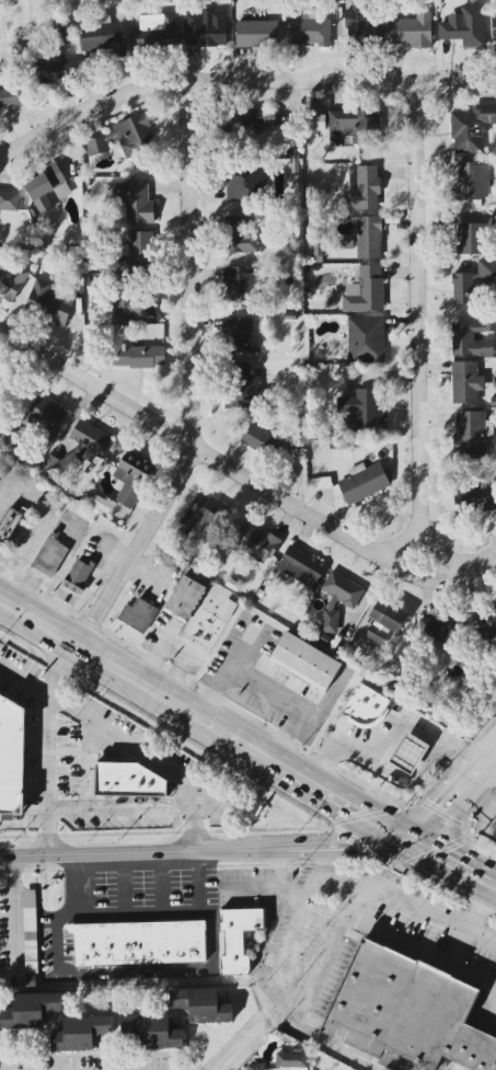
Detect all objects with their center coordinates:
building: (359, 21)
building: (465, 26)
building: (205, 28)
building: (412, 31)
building: (155, 32)
building: (310, 32)
building: (257, 34)
building: (62, 36)
building: (102, 38)
building: (54, 70)
road: (239, 79)
building: (11, 96)
building: (256, 118)
building: (316, 122)
building: (357, 125)
building: (472, 128)
building: (125, 137)
building: (473, 181)
building: (244, 183)
building: (47, 187)
building: (364, 187)
building: (134, 199)
building: (9, 200)
building: (240, 237)
building: (369, 238)
building: (470, 239)
building: (321, 250)
building: (141, 251)
building: (240, 280)
building: (474, 281)
building: (12, 283)
building: (365, 290)
building: (50, 301)
building: (134, 307)
road: (418, 313)
building: (242, 336)
building: (473, 337)
building: (367, 340)
building: (138, 356)
road: (188, 380)
building: (466, 382)
building: (246, 392)
building: (361, 412)
building: (45, 416)
building: (471, 433)
building: (257, 438)
building: (79, 450)
road: (245, 478)
building: (132, 479)
building: (364, 483)
building: (321, 485)
building: (474, 495)
building: (101, 505)
building: (201, 513)
building: (9, 525)
road: (38, 526)
building: (257, 543)
building: (50, 556)
building: (301, 567)
building: (79, 575)
road: (420, 580)
building: (232, 586)
building: (259, 595)
building: (338, 599)
building: (183, 600)
building: (226, 610)
building: (137, 615)
building: (389, 617)
building: (489, 625)
building: (439, 631)
building: (379, 634)
building: (323, 640)
building: (305, 663)
building: (365, 706)
road: (393, 738)
road: (123, 741)
road: (47, 748)
road: (244, 751)
building: (410, 753)
building: (12, 756)
road: (88, 767)
road: (492, 771)
building: (125, 783)
road: (449, 807)
road: (119, 810)
road: (494, 818)
road: (23, 822)
traffic signals: (390, 836)
road: (195, 848)
road: (132, 866)
road: (195, 878)
road: (396, 898)
road: (111, 911)
road: (14, 919)
building: (28, 933)
building: (239, 939)
building: (138, 943)
road: (281, 951)
road: (420, 956)
road: (324, 957)
road: (131, 973)
building: (30, 981)
building: (201, 1005)
building: (30, 1011)
building: (406, 1012)
road: (494, 1025)
road: (494, 1029)
building: (152, 1032)
building: (81, 1033)
road: (331, 1049)
building: (291, 1061)
building: (257, 1067)

